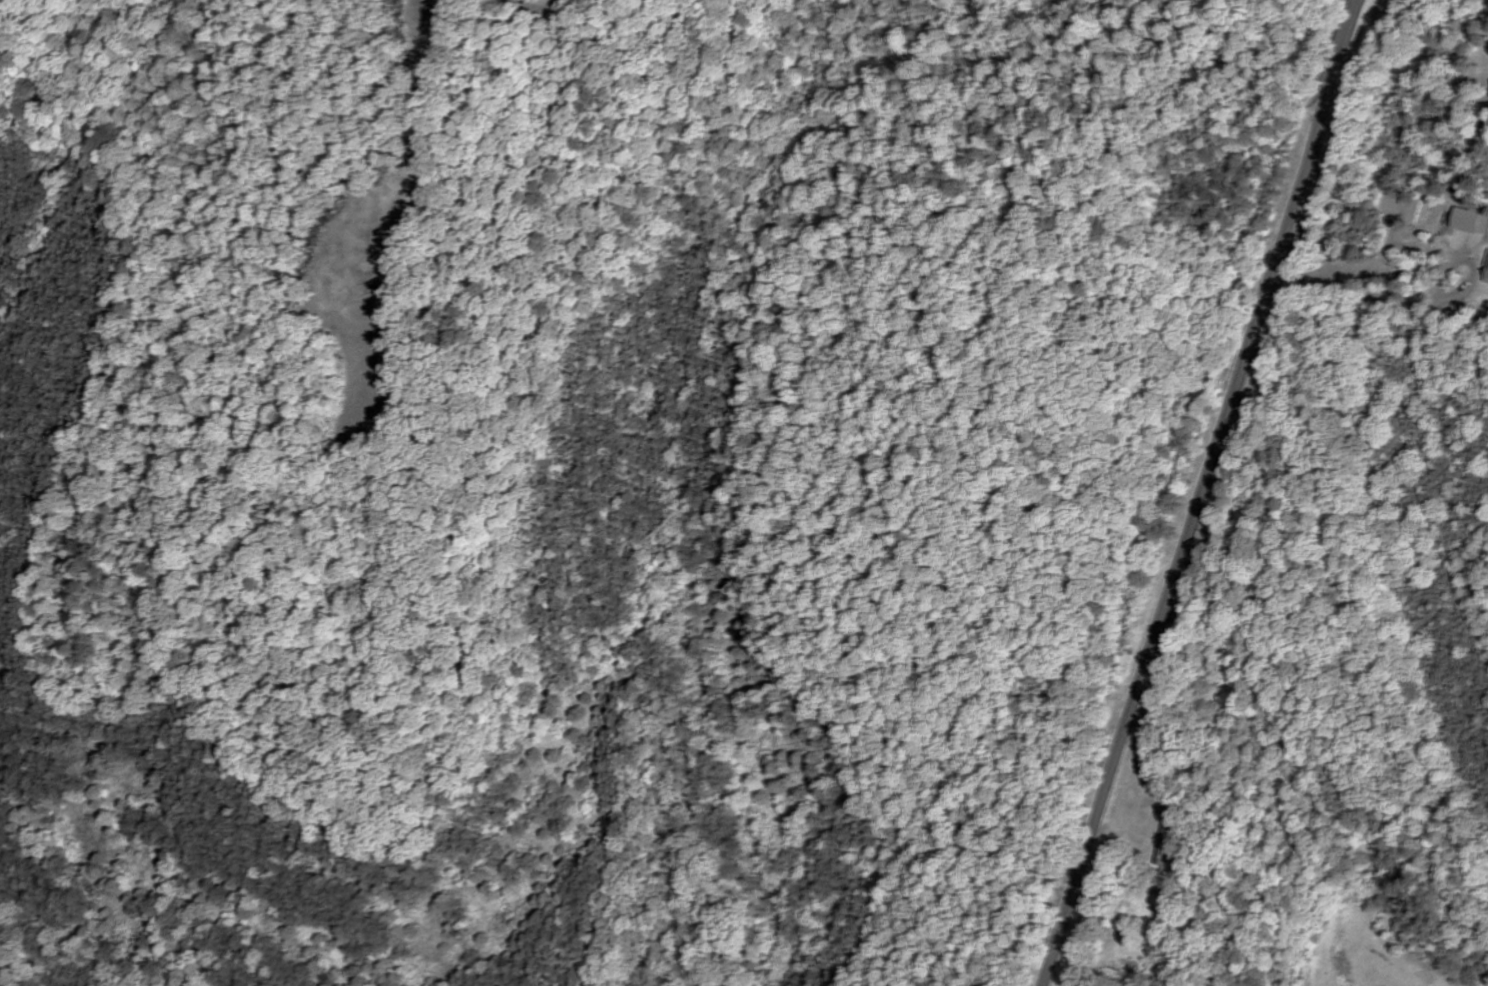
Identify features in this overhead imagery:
building: (1486, 274)
road: (1369, 297)
road: (1201, 492)

